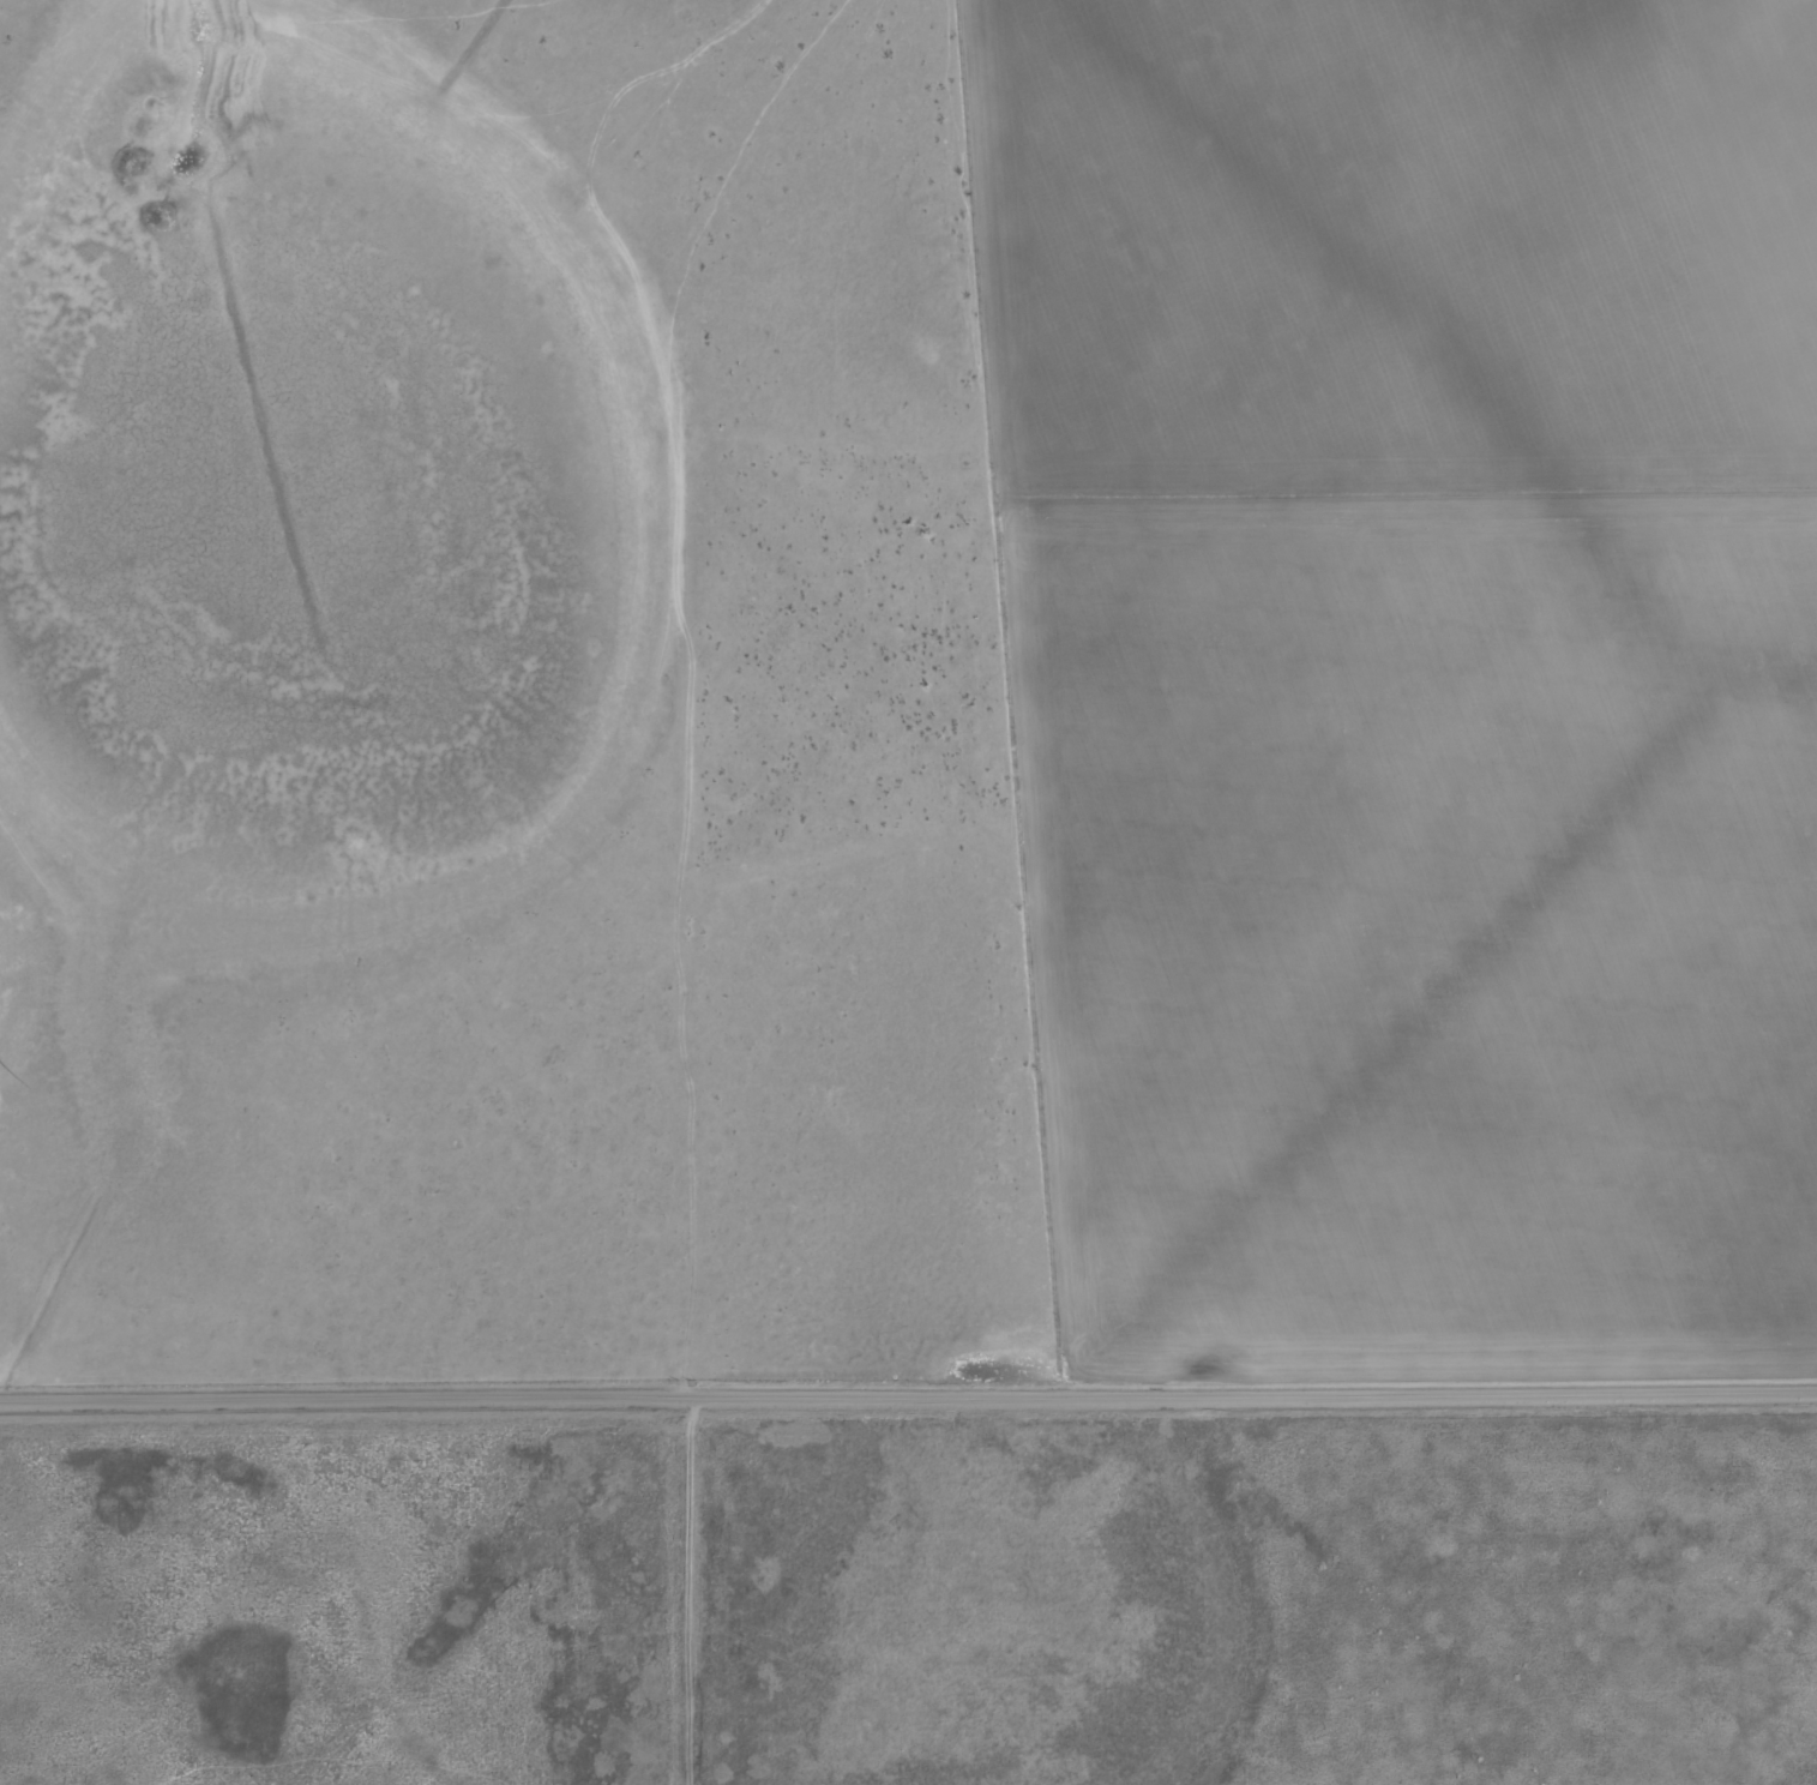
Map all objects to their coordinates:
road: (908, 1392)

